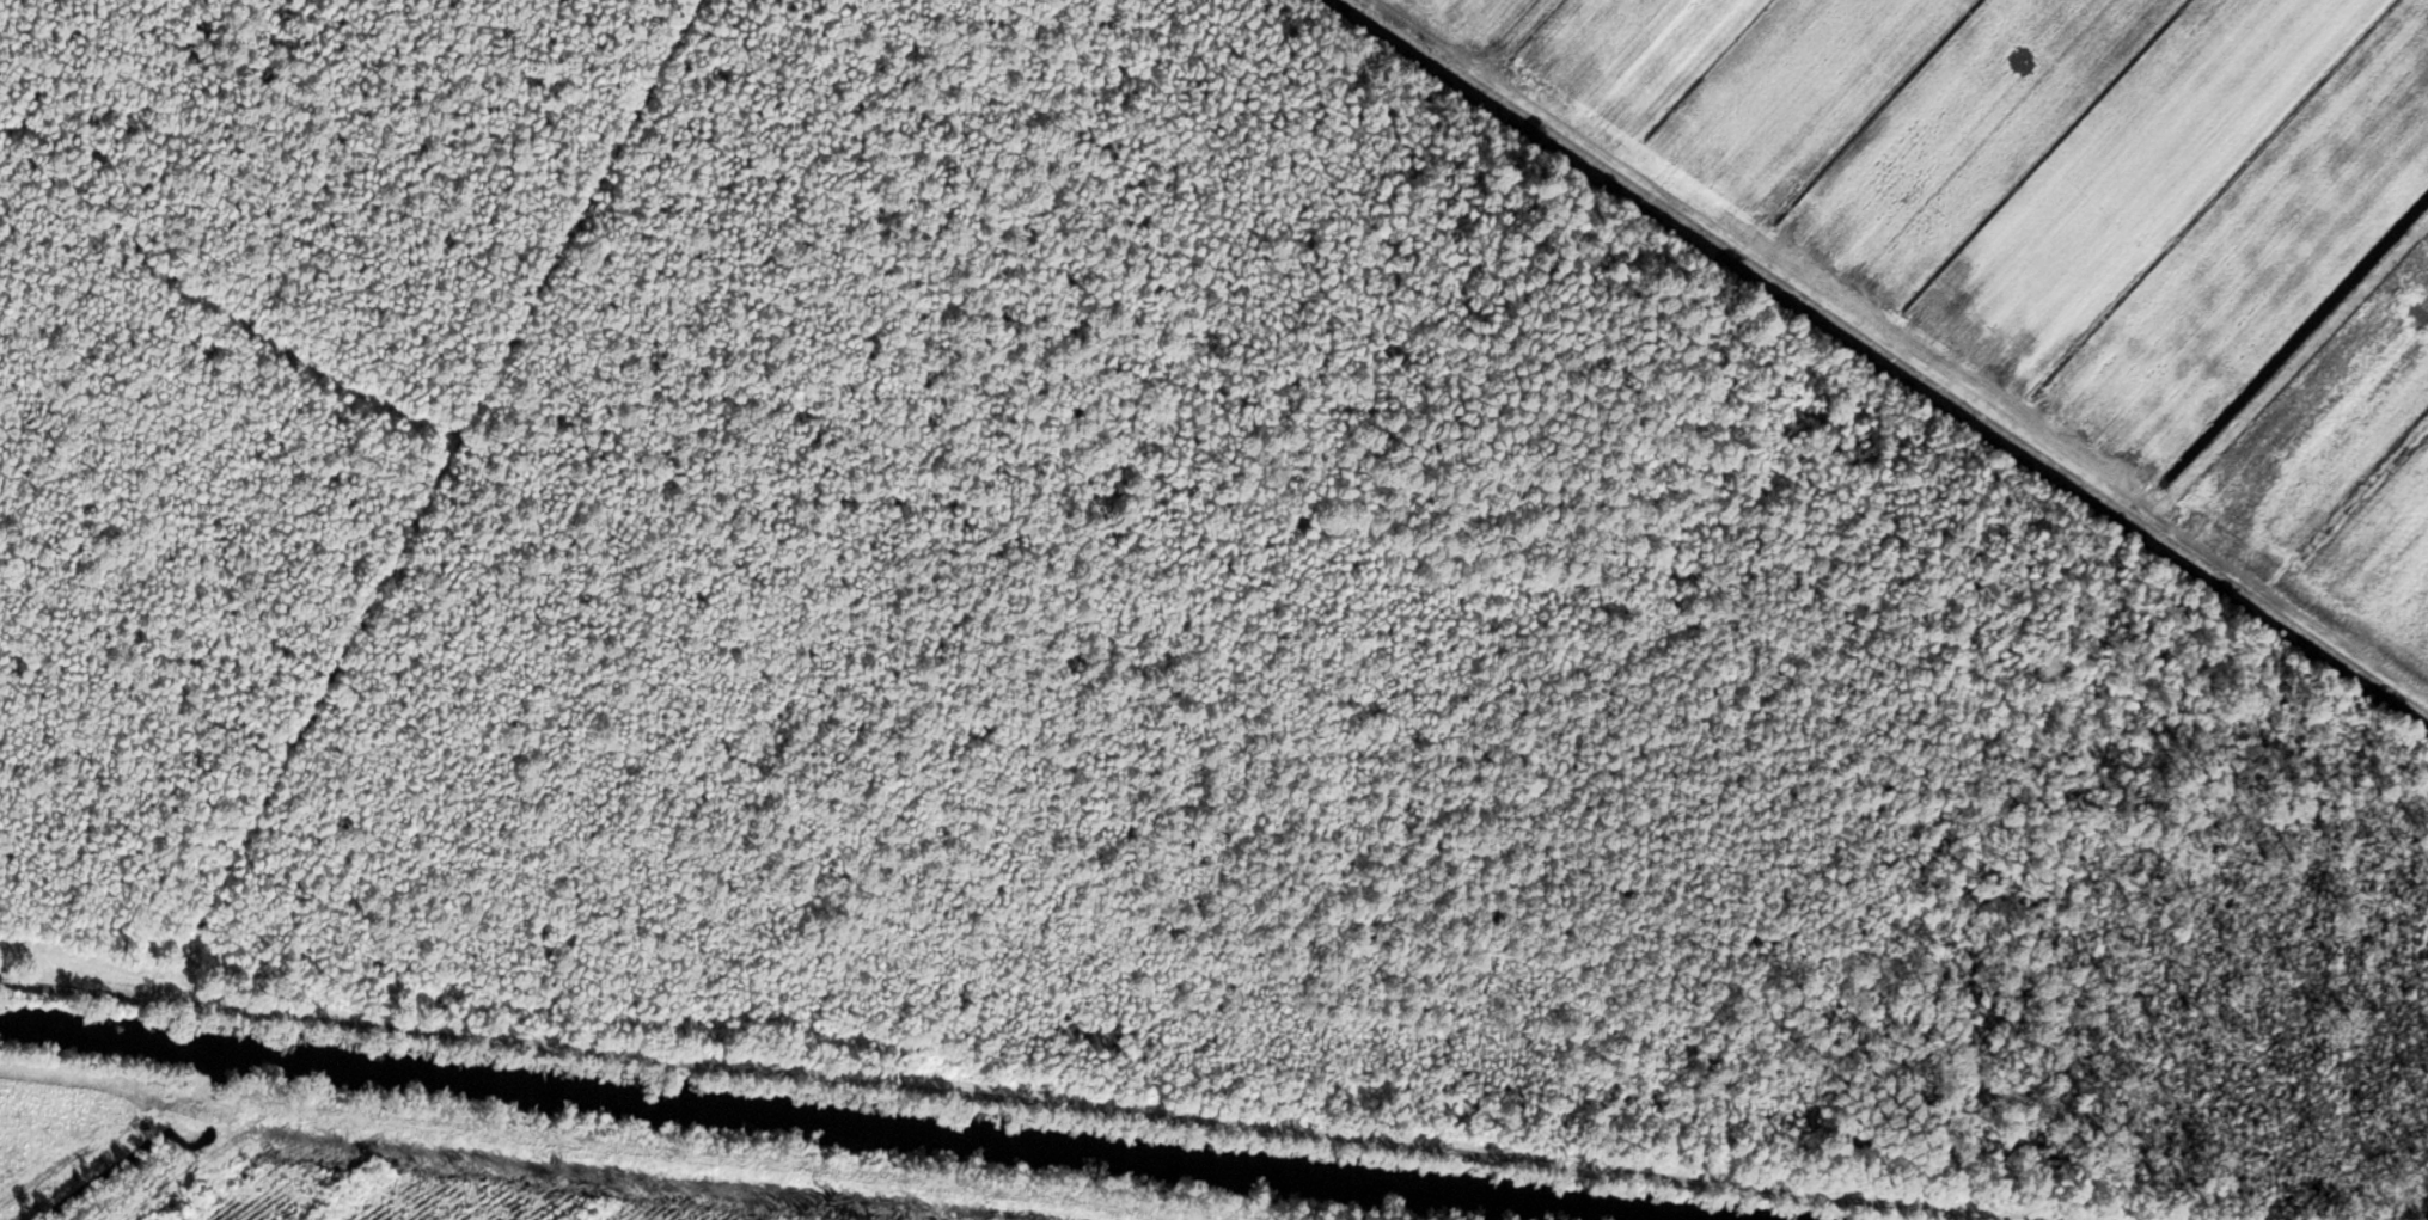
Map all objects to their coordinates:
road: (1620, 600)

